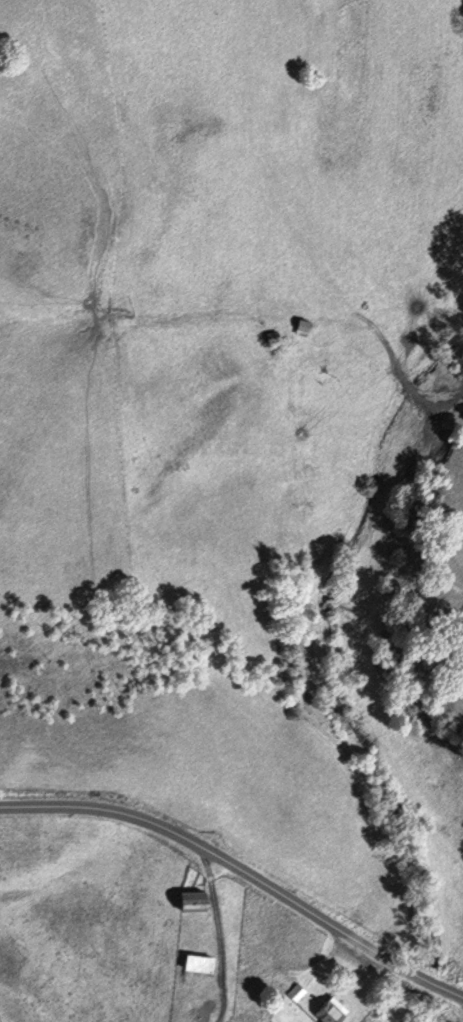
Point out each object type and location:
building: (302, 327)
building: (277, 338)
road: (405, 374)
road: (224, 864)
building: (193, 902)
road: (217, 937)
building: (199, 963)
road: (446, 990)
building: (296, 992)
building: (332, 1012)

